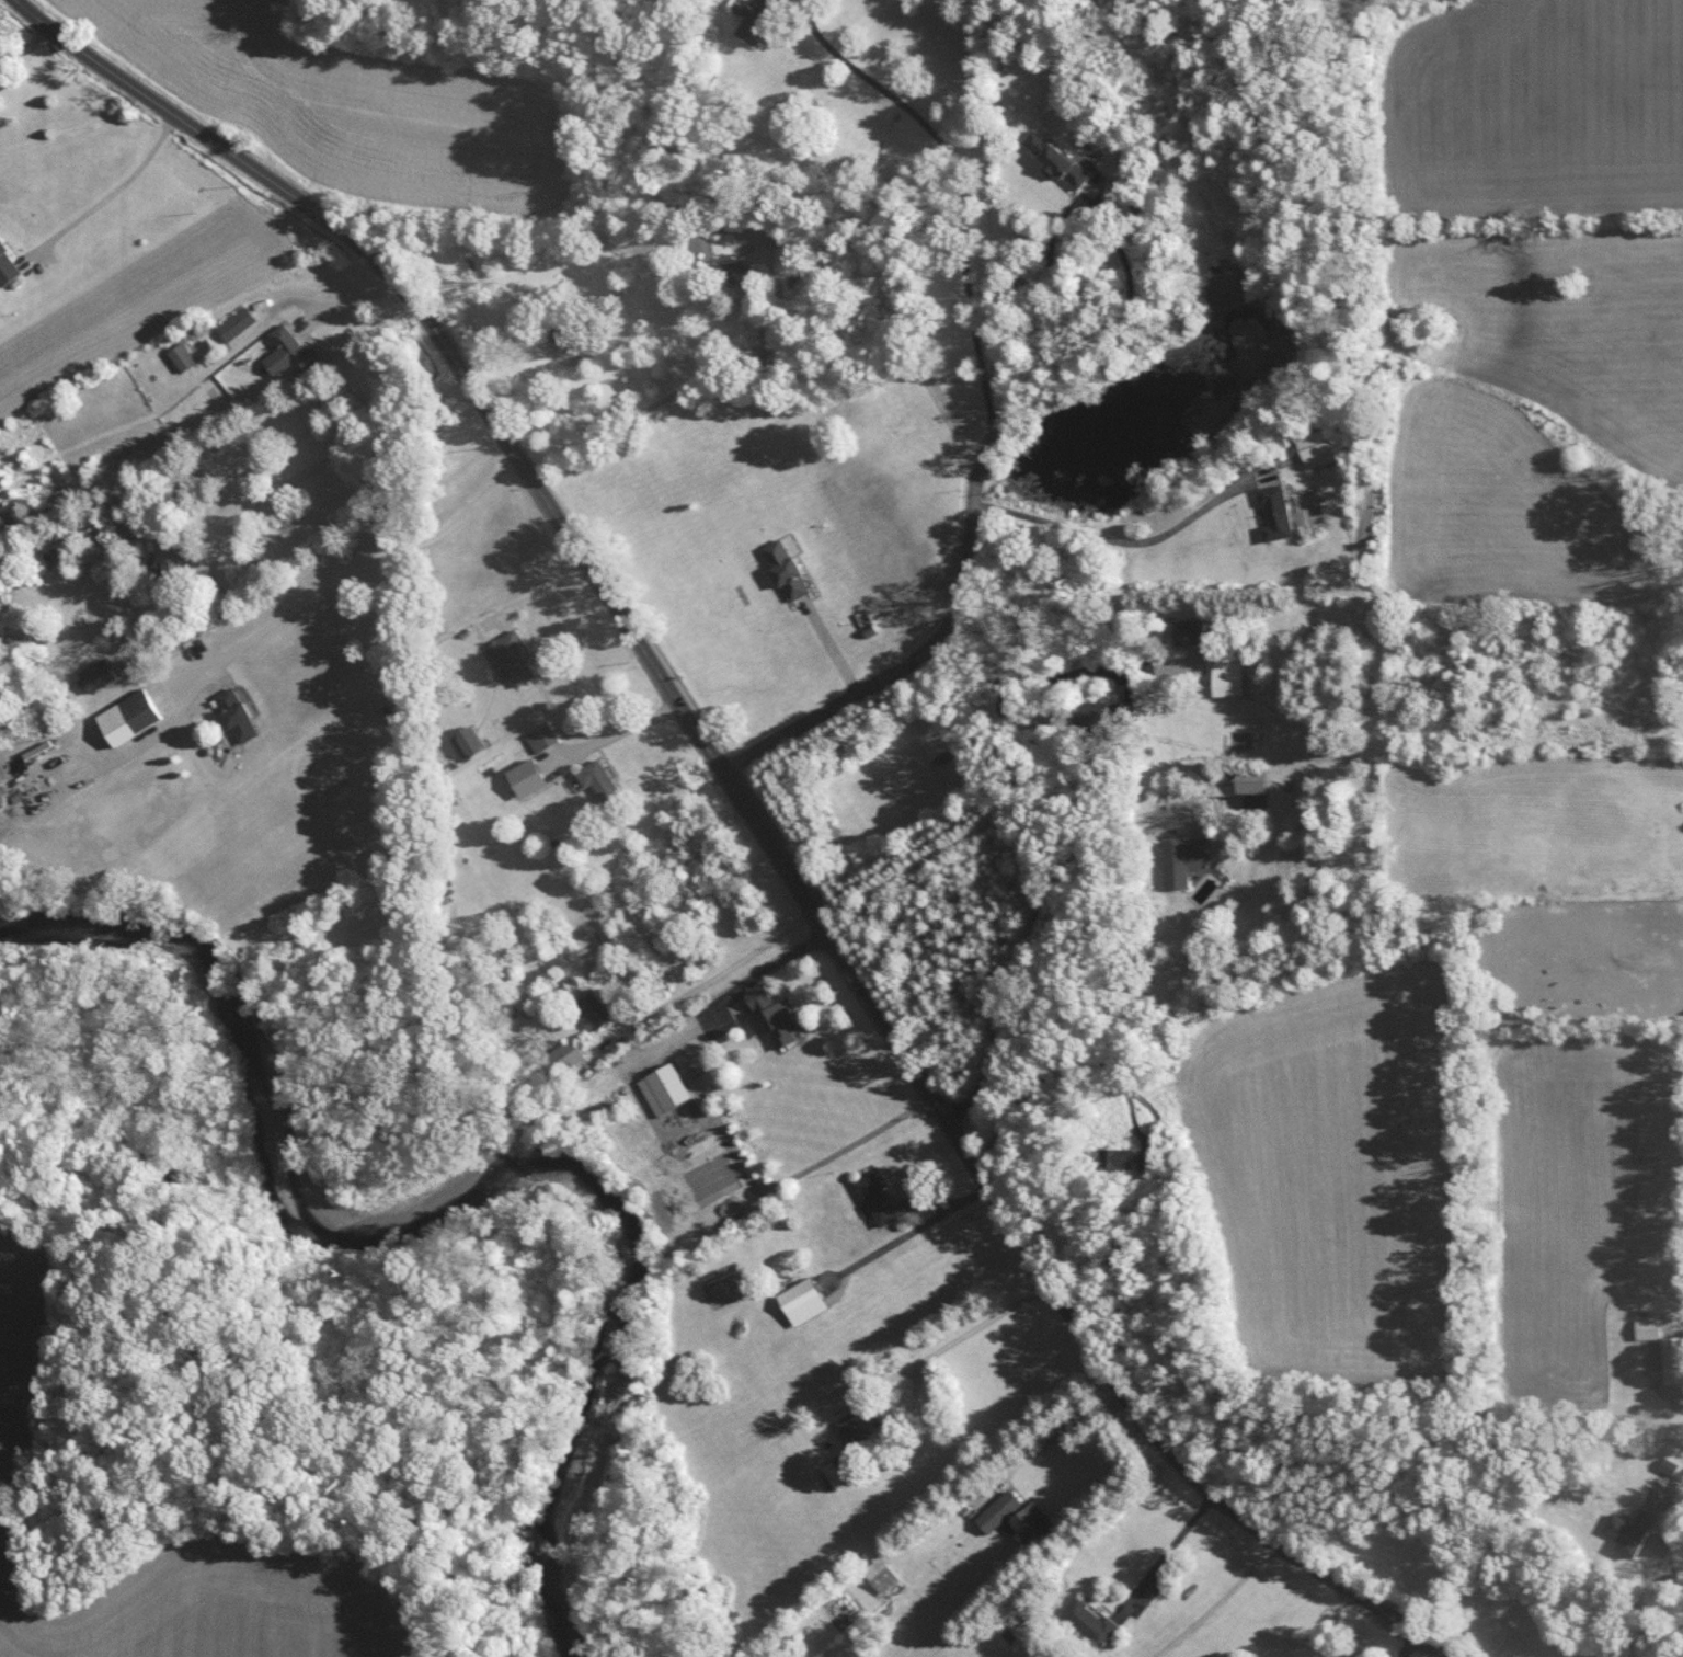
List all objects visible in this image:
building: (760, 19)
road: (26, 45)
road: (877, 100)
building: (1057, 157)
road: (118, 186)
road: (1069, 205)
building: (8, 265)
building: (739, 271)
road: (982, 319)
building: (238, 322)
road: (430, 325)
building: (290, 351)
building: (184, 355)
road: (690, 384)
building: (1319, 446)
road: (328, 459)
building: (1276, 512)
building: (788, 564)
road: (1148, 567)
road: (538, 590)
building: (1191, 631)
road: (829, 644)
road: (236, 650)
building: (513, 655)
building: (99, 673)
building: (1228, 677)
road: (1024, 683)
road: (831, 706)
building: (238, 713)
building: (1107, 713)
building: (130, 716)
road: (614, 733)
building: (542, 736)
building: (470, 741)
building: (529, 776)
building: (599, 778)
building: (1252, 779)
building: (1183, 859)
road: (1037, 928)
road: (711, 978)
road: (744, 983)
building: (760, 995)
building: (593, 1008)
building: (777, 1022)
building: (564, 1055)
building: (666, 1087)
building: (1118, 1157)
building: (1145, 1161)
building: (879, 1198)
road: (939, 1216)
road: (1038, 1257)
building: (804, 1300)
building: (1649, 1327)
road: (955, 1339)
building: (1682, 1342)
building: (1673, 1359)
building: (859, 1424)
road: (1069, 1429)
building: (840, 1469)
building: (999, 1509)
building: (1034, 1521)
building: (1630, 1529)
road: (1169, 1547)
building: (883, 1574)
road: (1217, 1601)
road: (1649, 1601)
building: (1090, 1621)
road: (1410, 1646)

